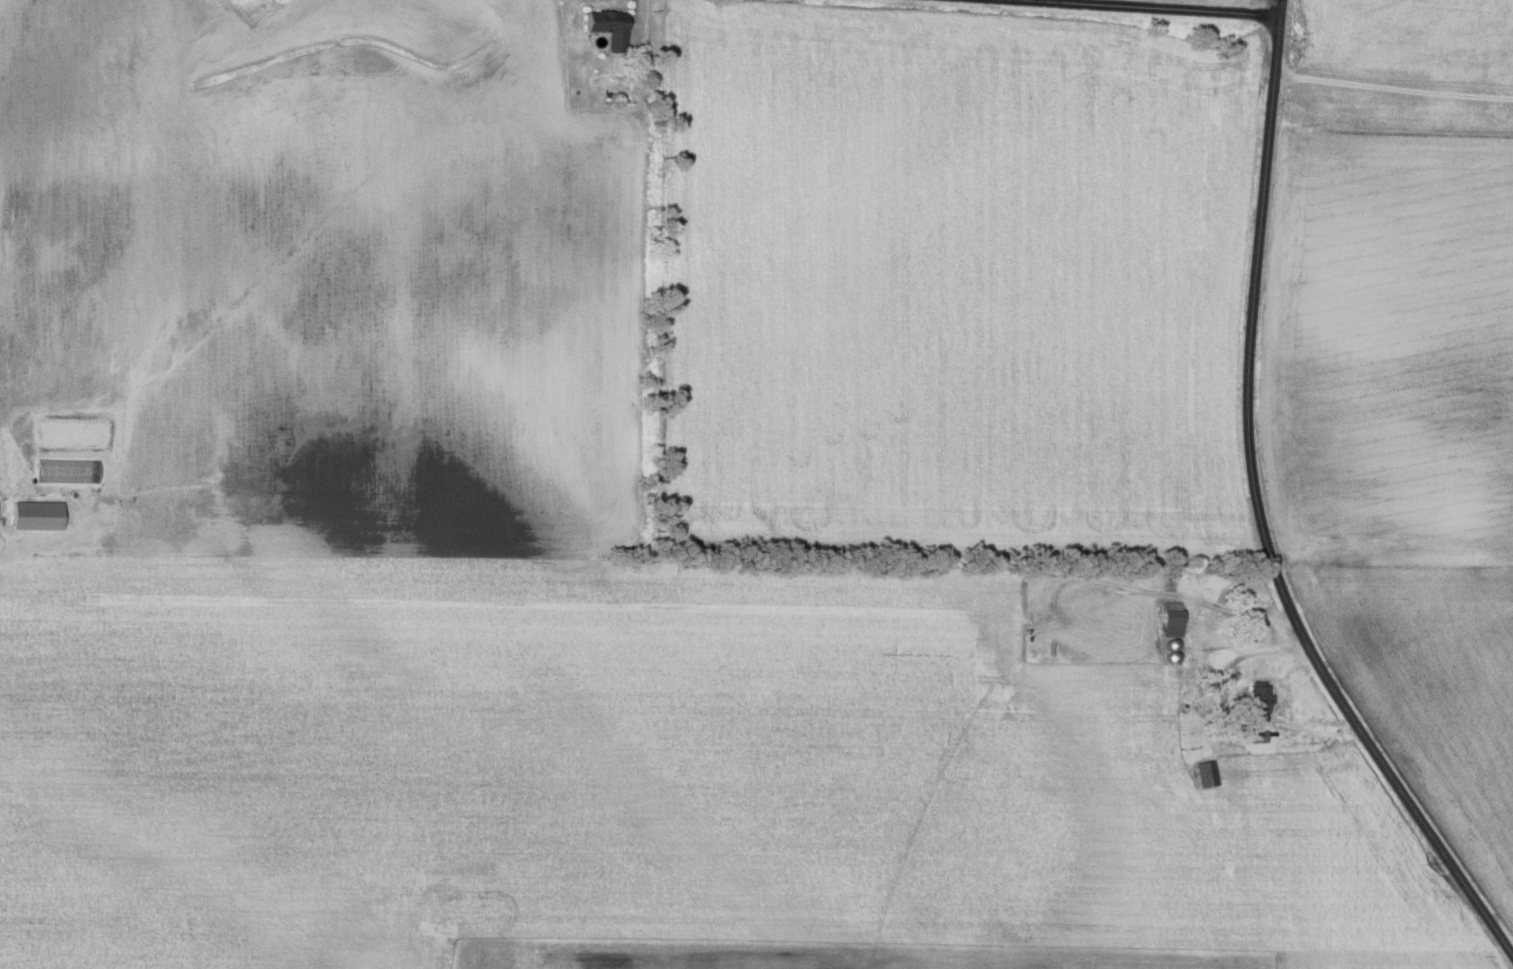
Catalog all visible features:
road: (1122, 6)
road: (1279, 6)
building: (607, 26)
road: (1262, 518)
building: (1169, 618)
building: (1257, 699)
building: (1260, 736)
building: (1204, 773)

